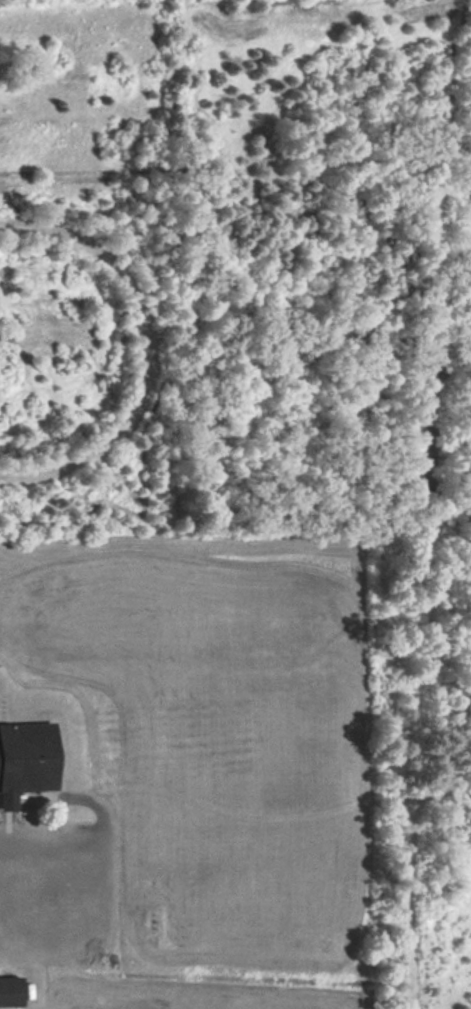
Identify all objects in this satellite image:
building: (25, 760)
road: (13, 853)
building: (10, 991)

